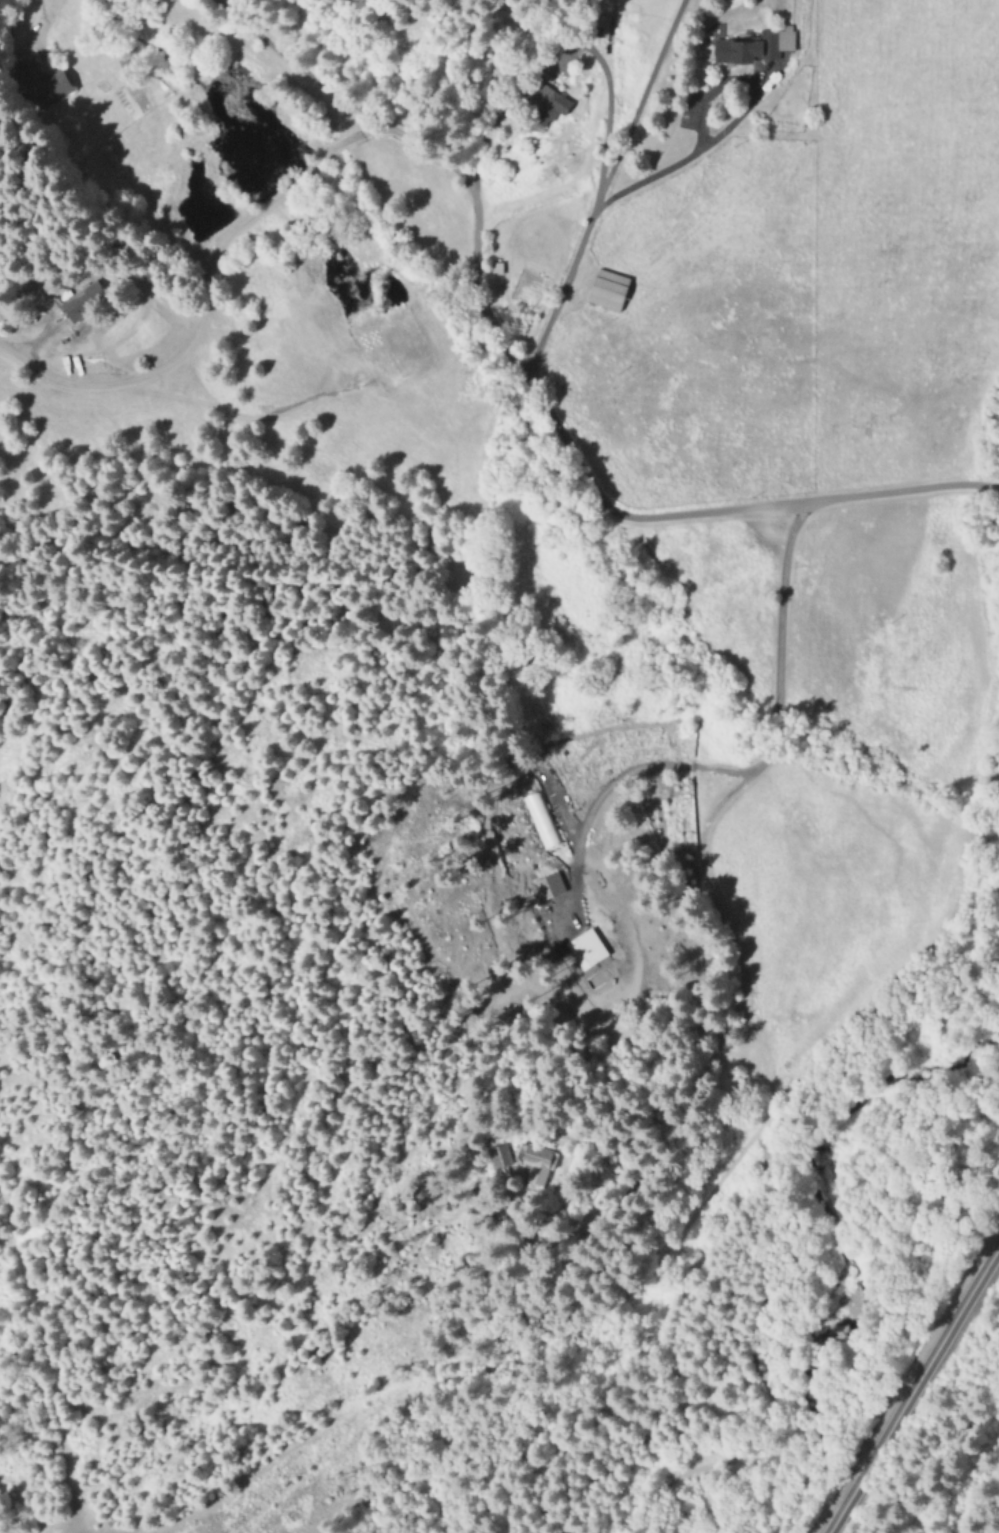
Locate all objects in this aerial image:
building: (746, 50)
building: (39, 82)
building: (544, 102)
road: (643, 182)
road: (603, 189)
building: (610, 292)
building: (77, 306)
road: (531, 391)
road: (998, 488)
building: (524, 833)
building: (547, 889)
road: (710, 895)
building: (587, 951)
building: (537, 1165)
road: (913, 1388)

